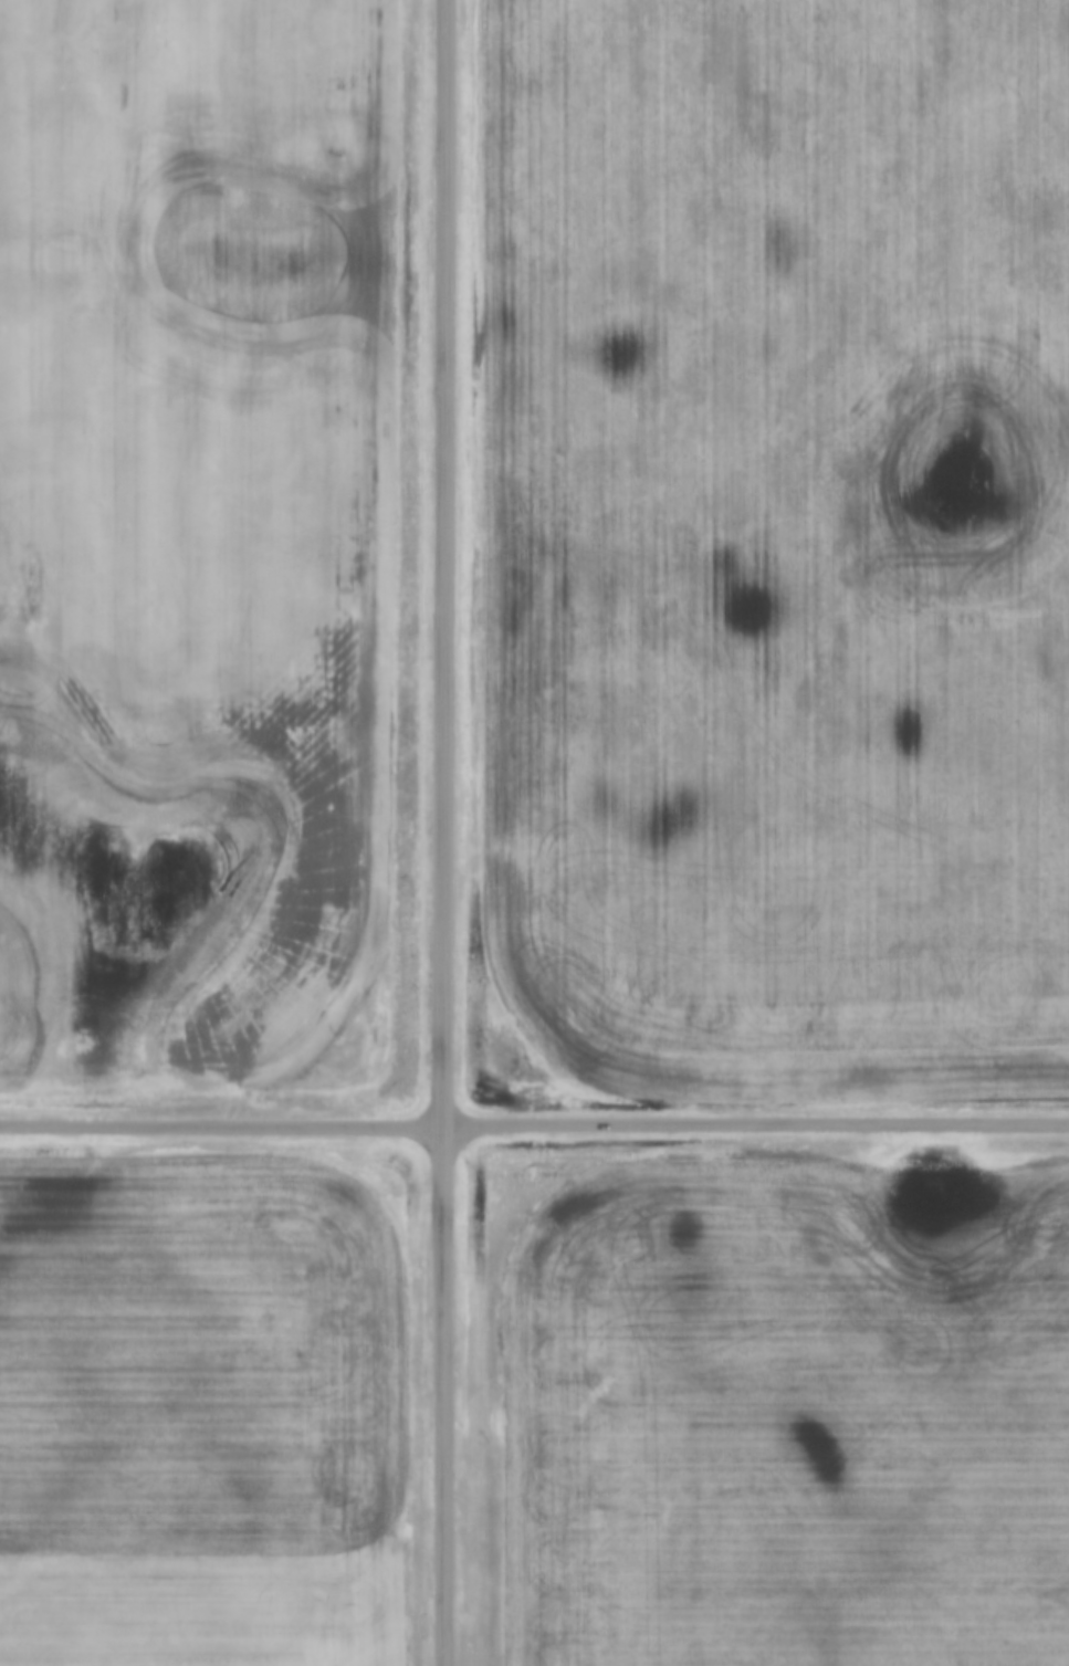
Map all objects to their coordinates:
road: (443, 832)
road: (534, 1121)

